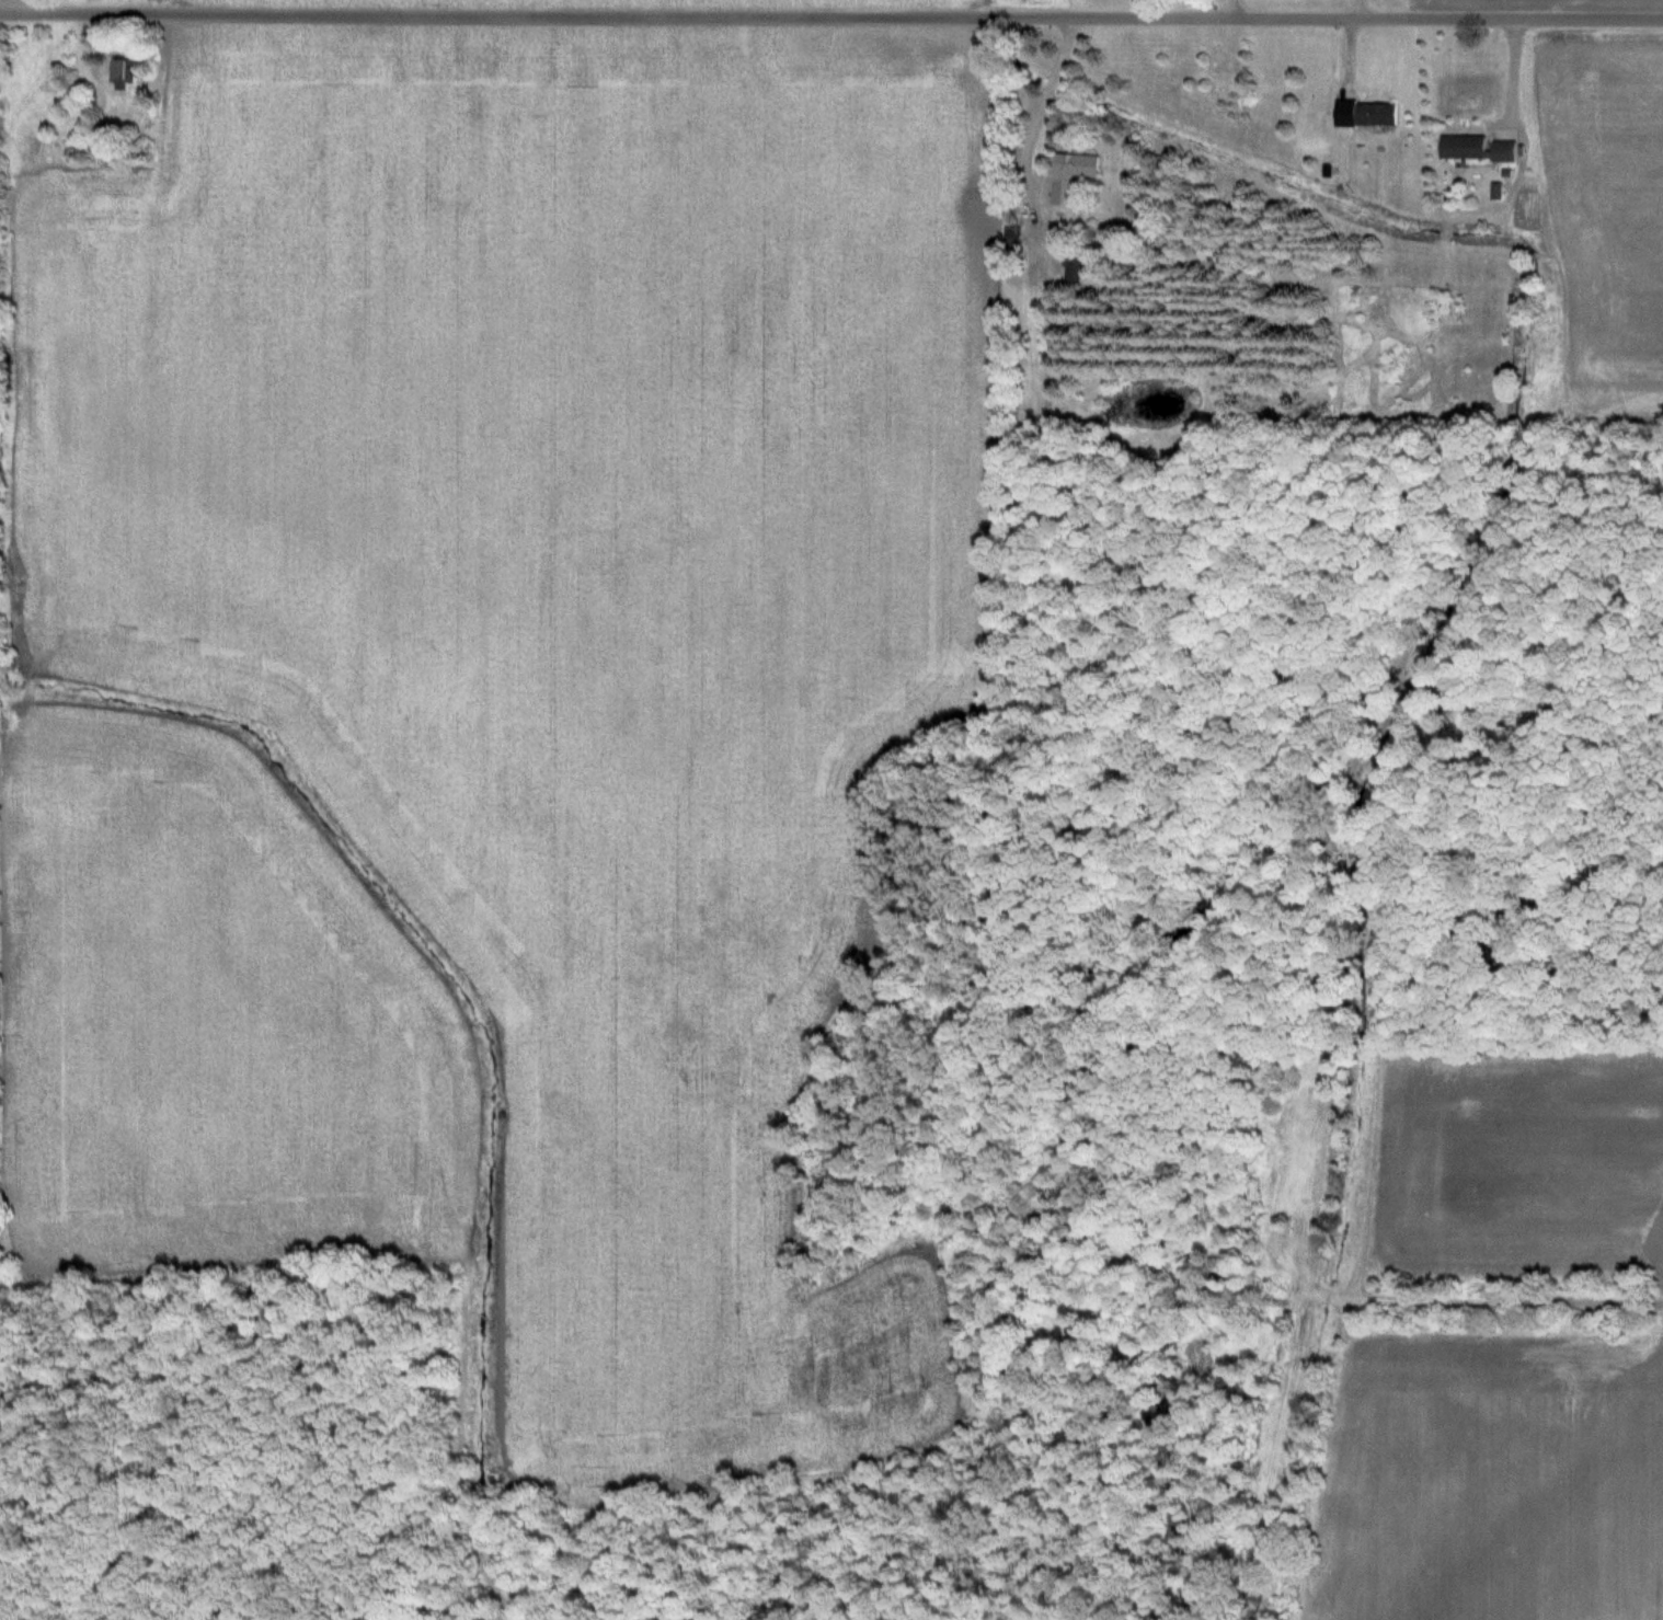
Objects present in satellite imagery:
road: (15, 4)
road: (1232, 9)
road: (1362, 9)
road: (830, 14)
building: (126, 76)
road: (1043, 108)
building: (1368, 113)
building: (1481, 148)
building: (1075, 173)
building: (1078, 269)

